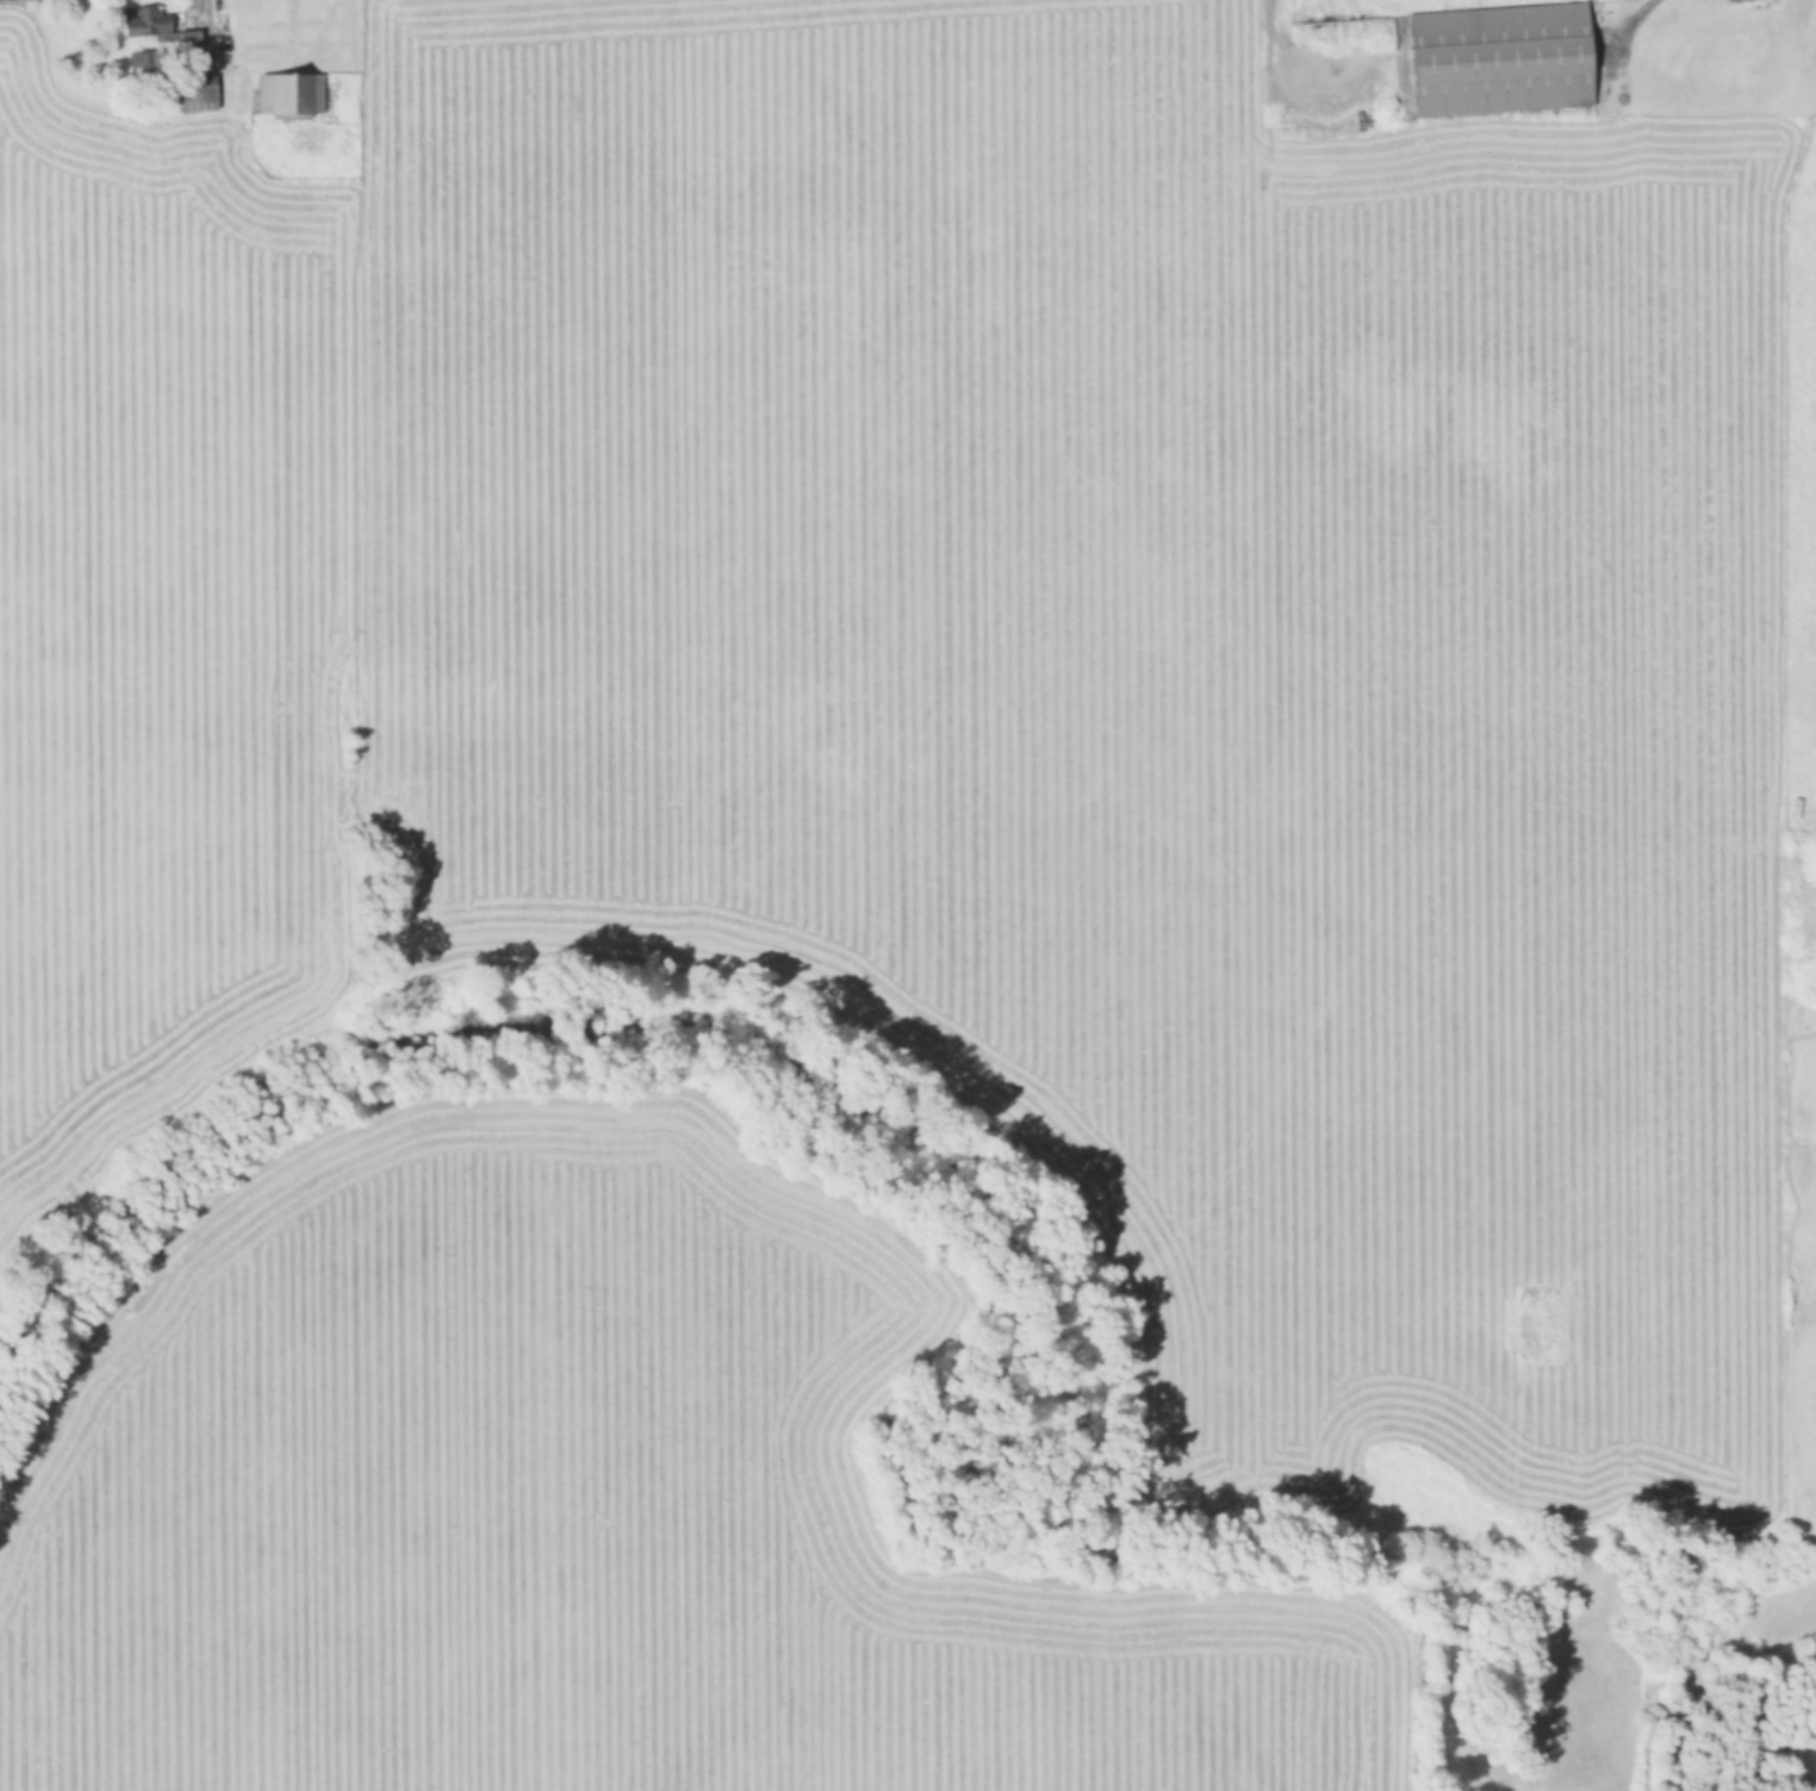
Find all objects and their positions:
road: (1630, 14)
building: (1812, 18)
building: (153, 29)
building: (1748, 36)
road: (1273, 49)
building: (1494, 60)
building: (139, 66)
building: (198, 94)
building: (290, 97)
building: (1759, 131)
building: (1683, 154)
crop: (867, 896)

